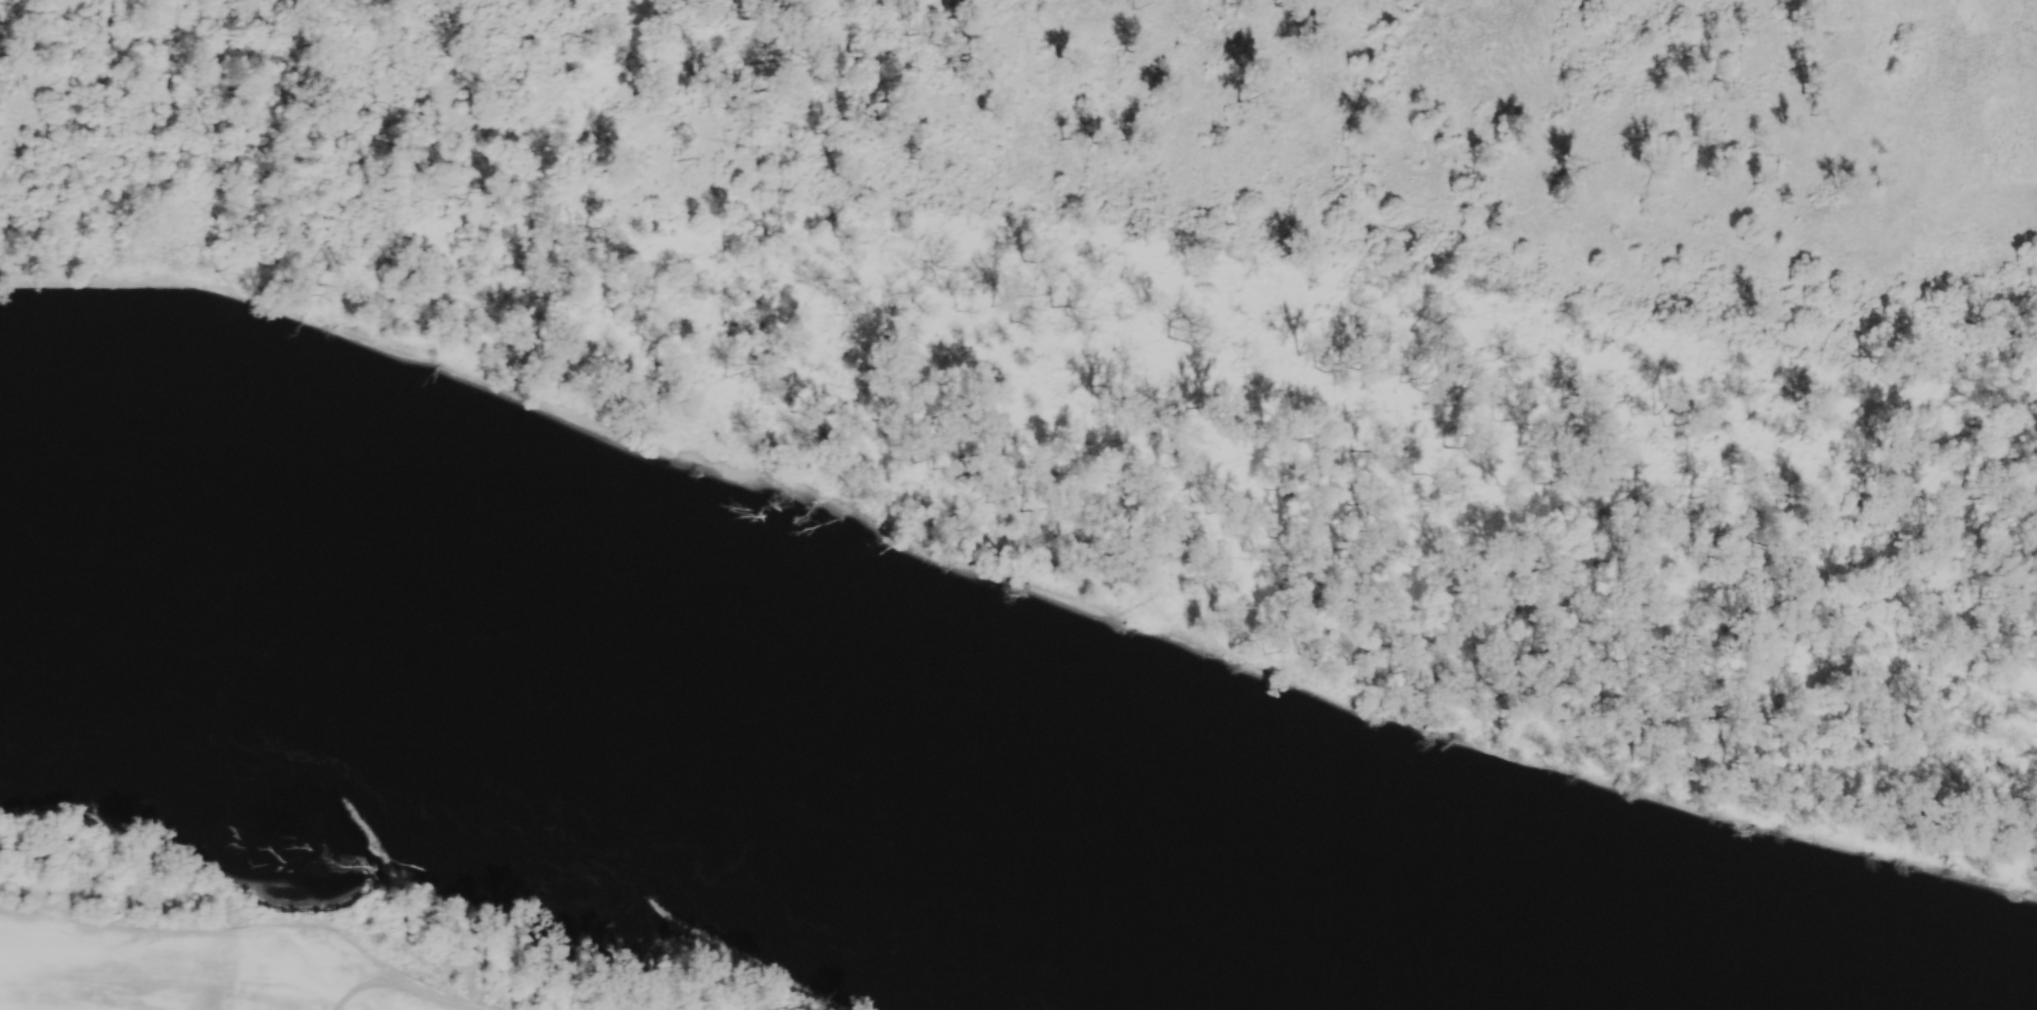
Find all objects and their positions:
river: (726, 749)
road: (233, 969)

